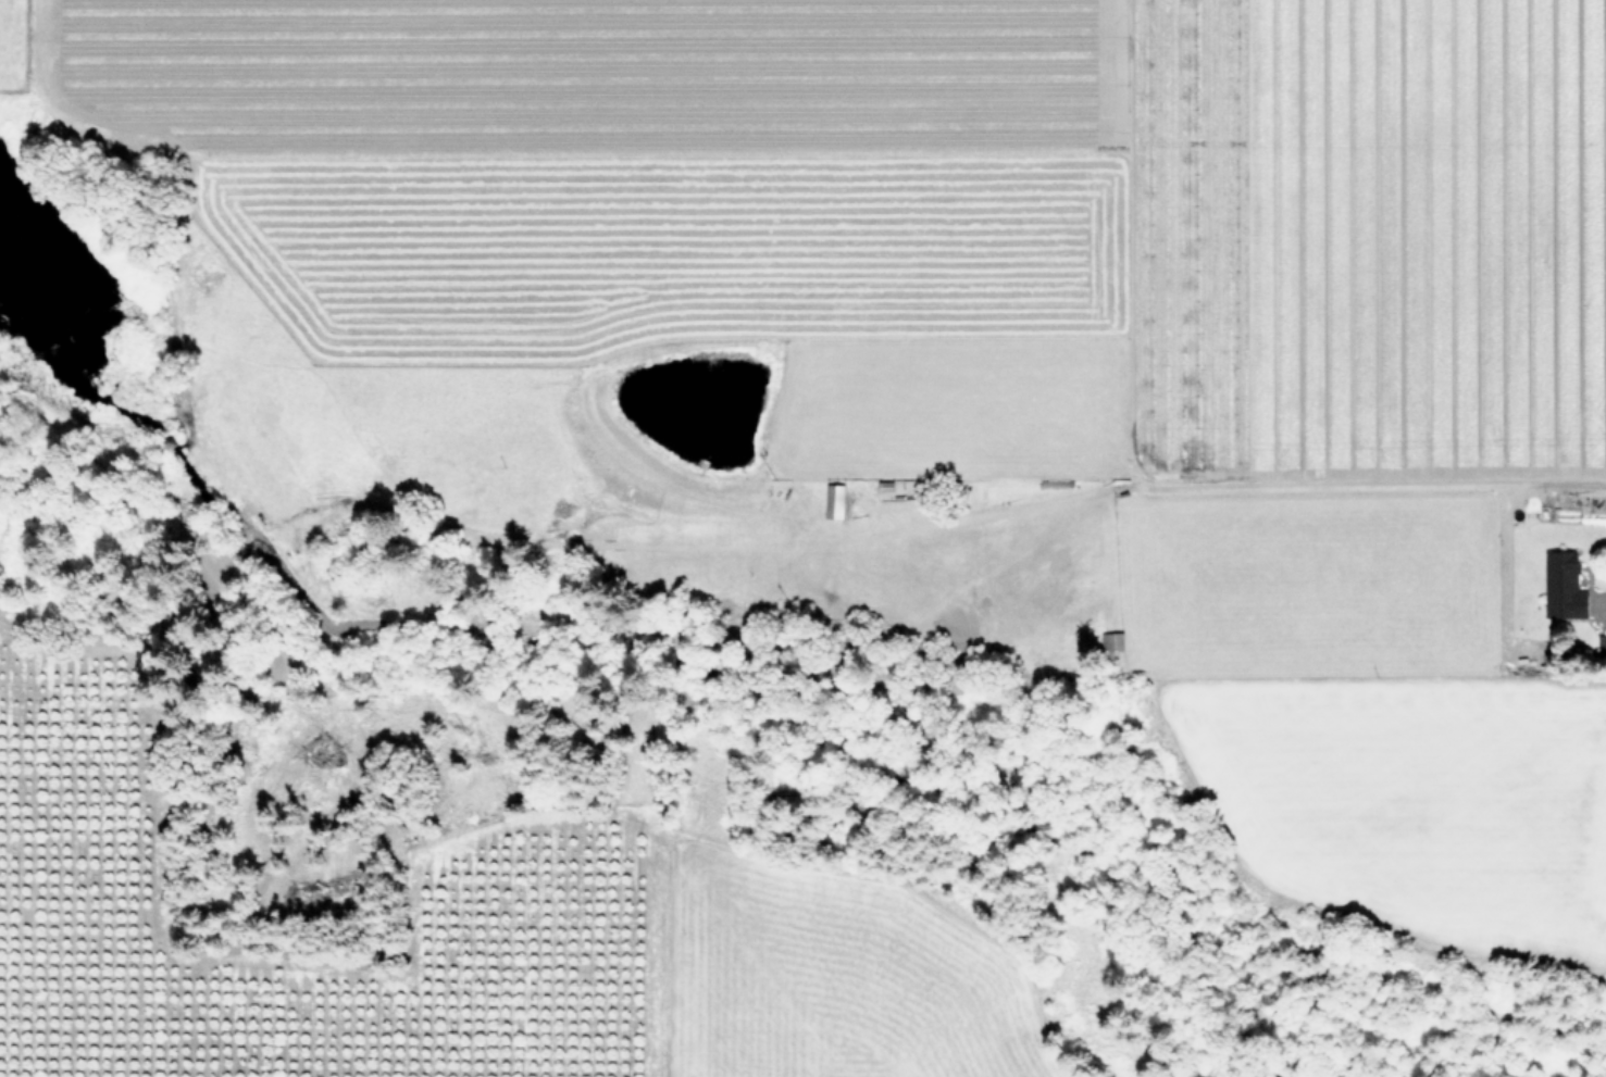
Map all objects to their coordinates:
crop: (984, 351)
building: (882, 485)
building: (832, 500)
building: (1561, 585)
building: (1111, 640)
building: (1601, 644)
crop: (813, 974)

